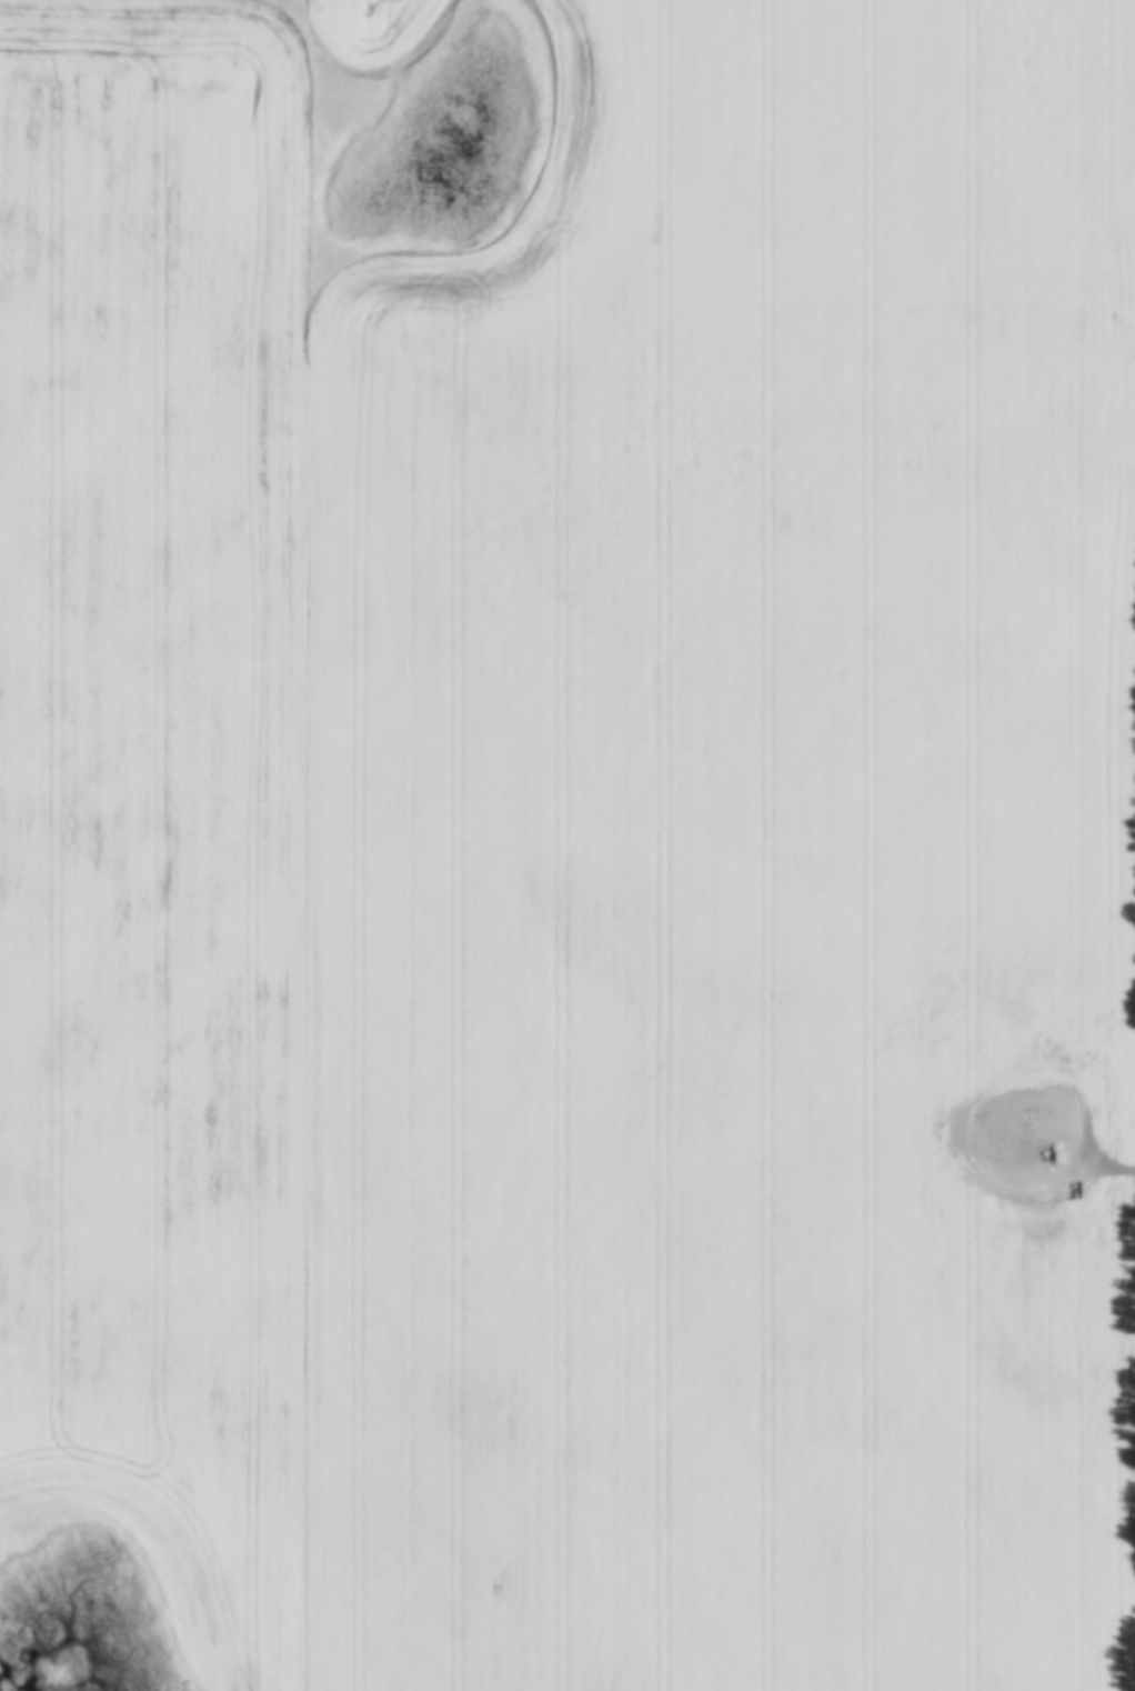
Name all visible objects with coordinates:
road: (1036, 1207)

